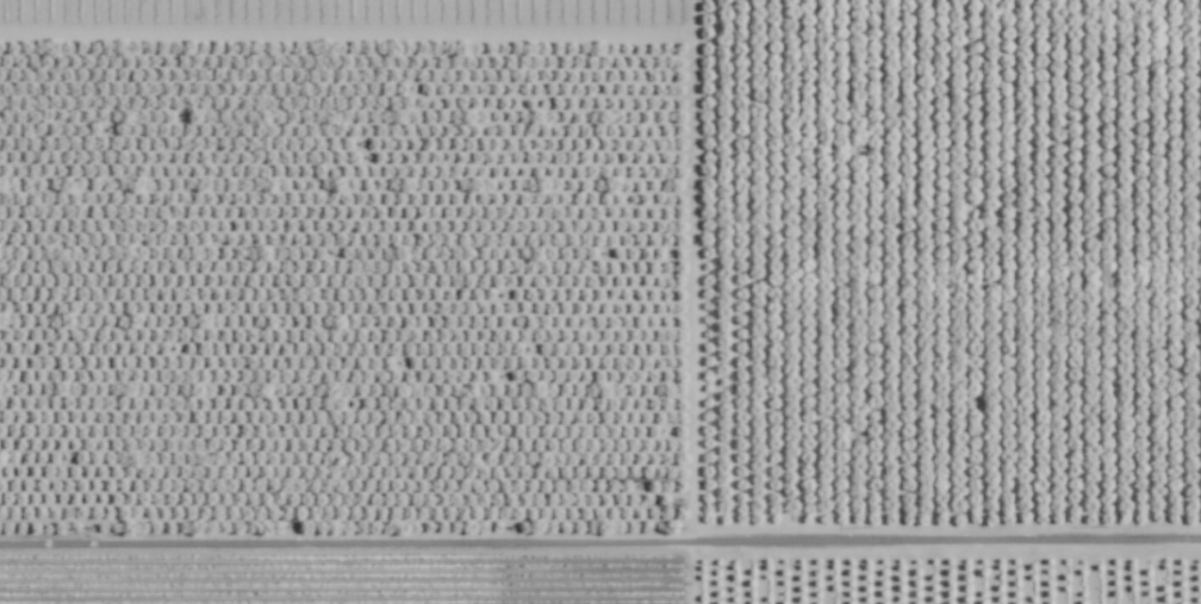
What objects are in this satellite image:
road: (600, 538)
road: (693, 571)

